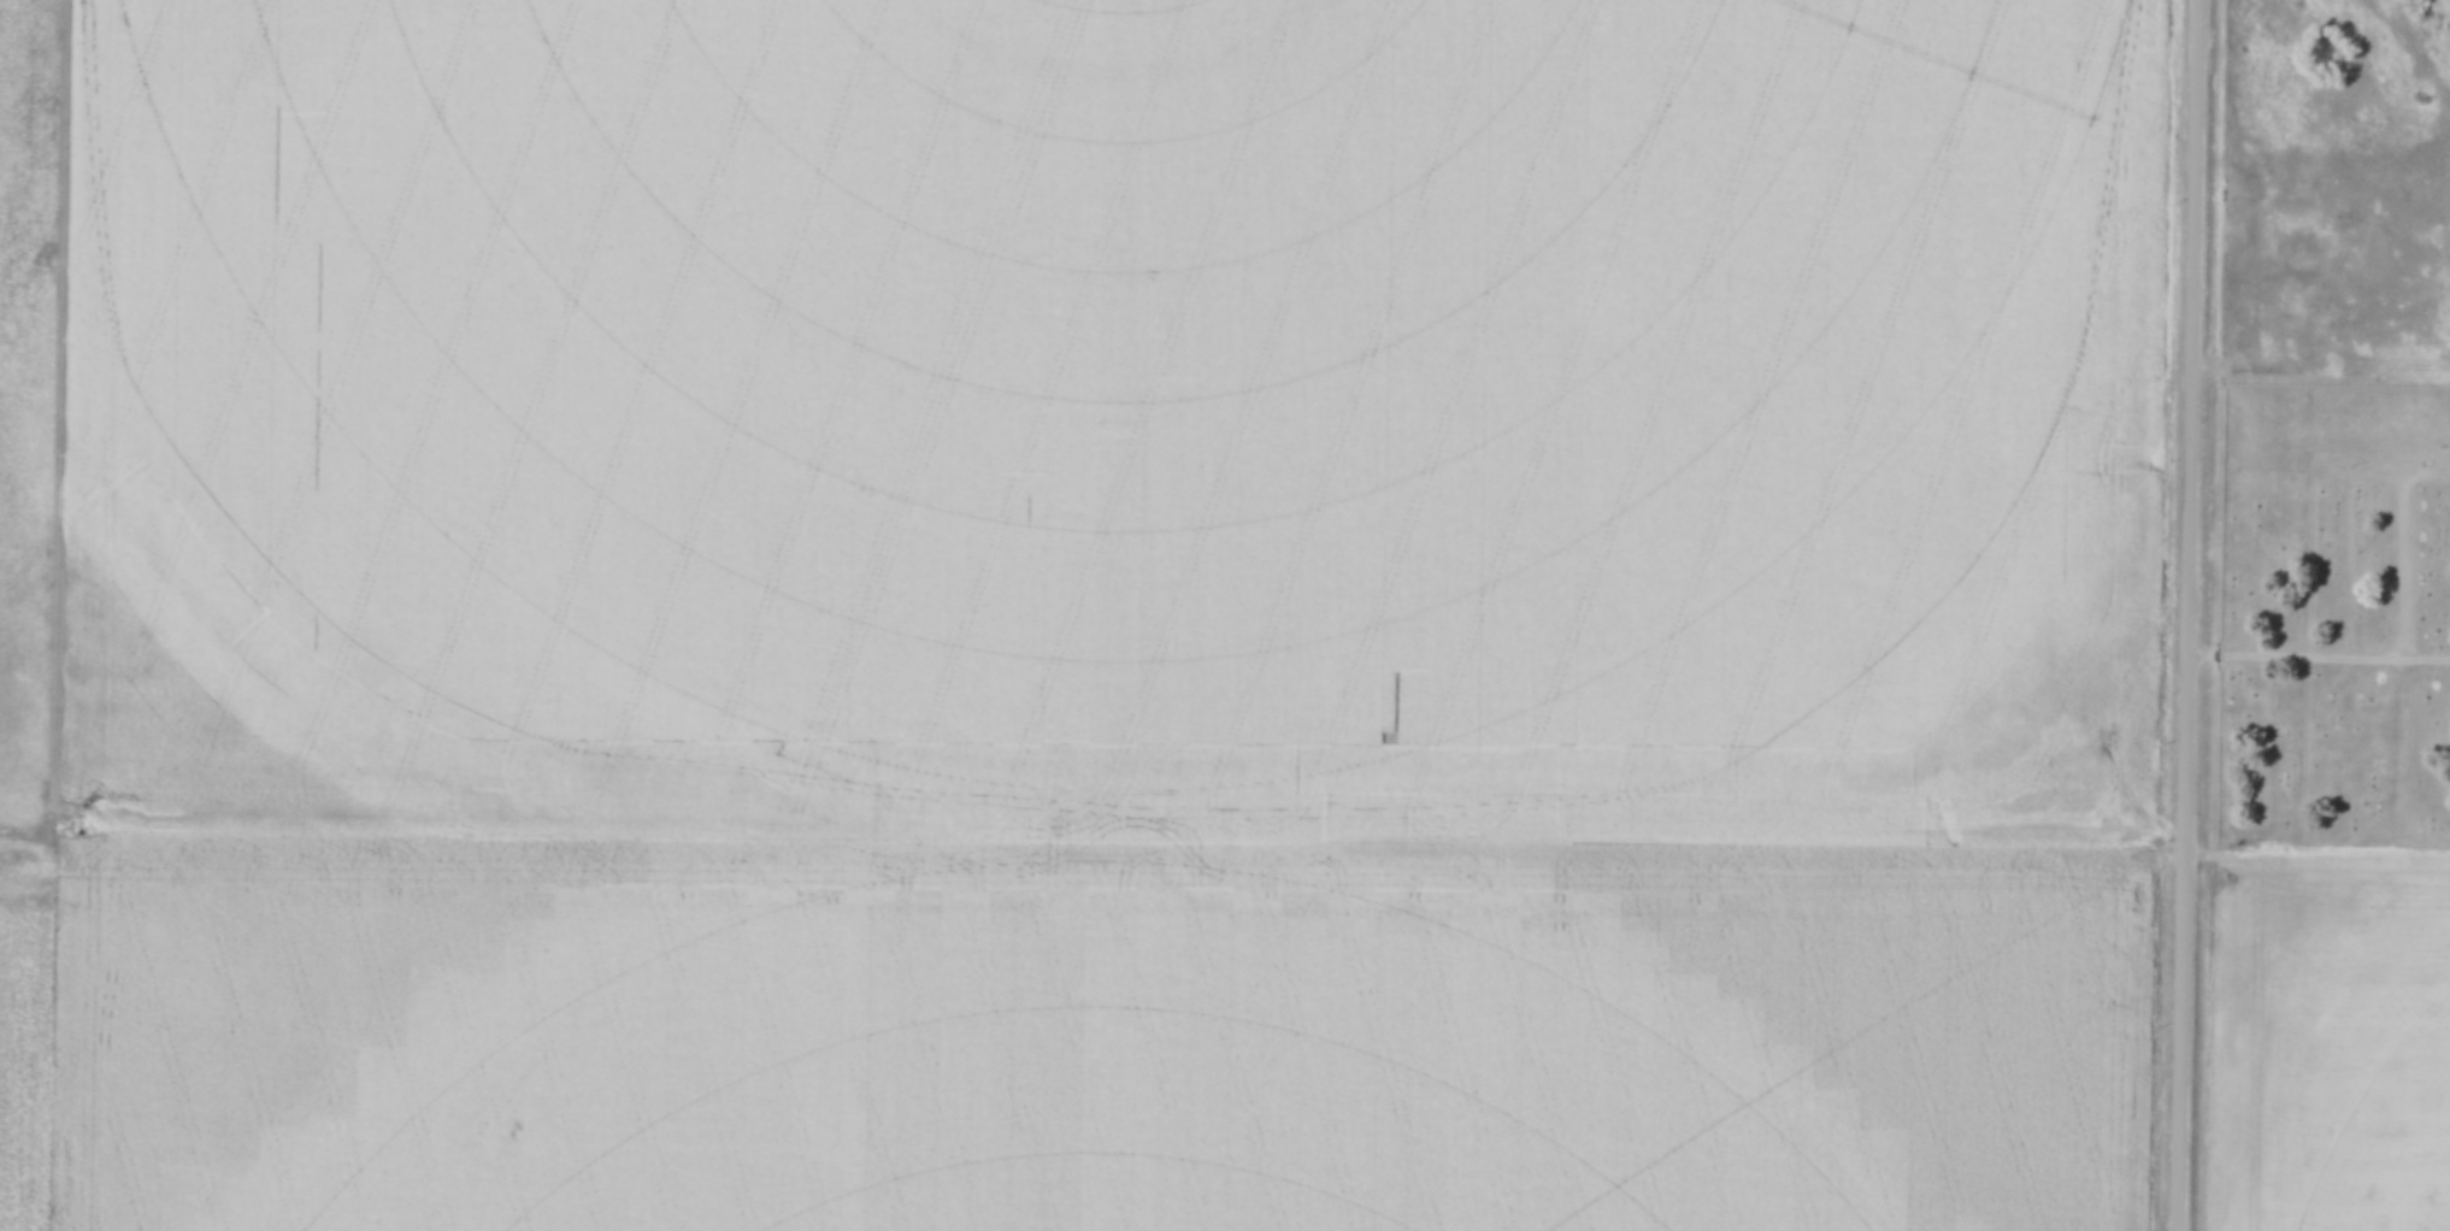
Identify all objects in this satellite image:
road: (2189, 614)
road: (2319, 655)

